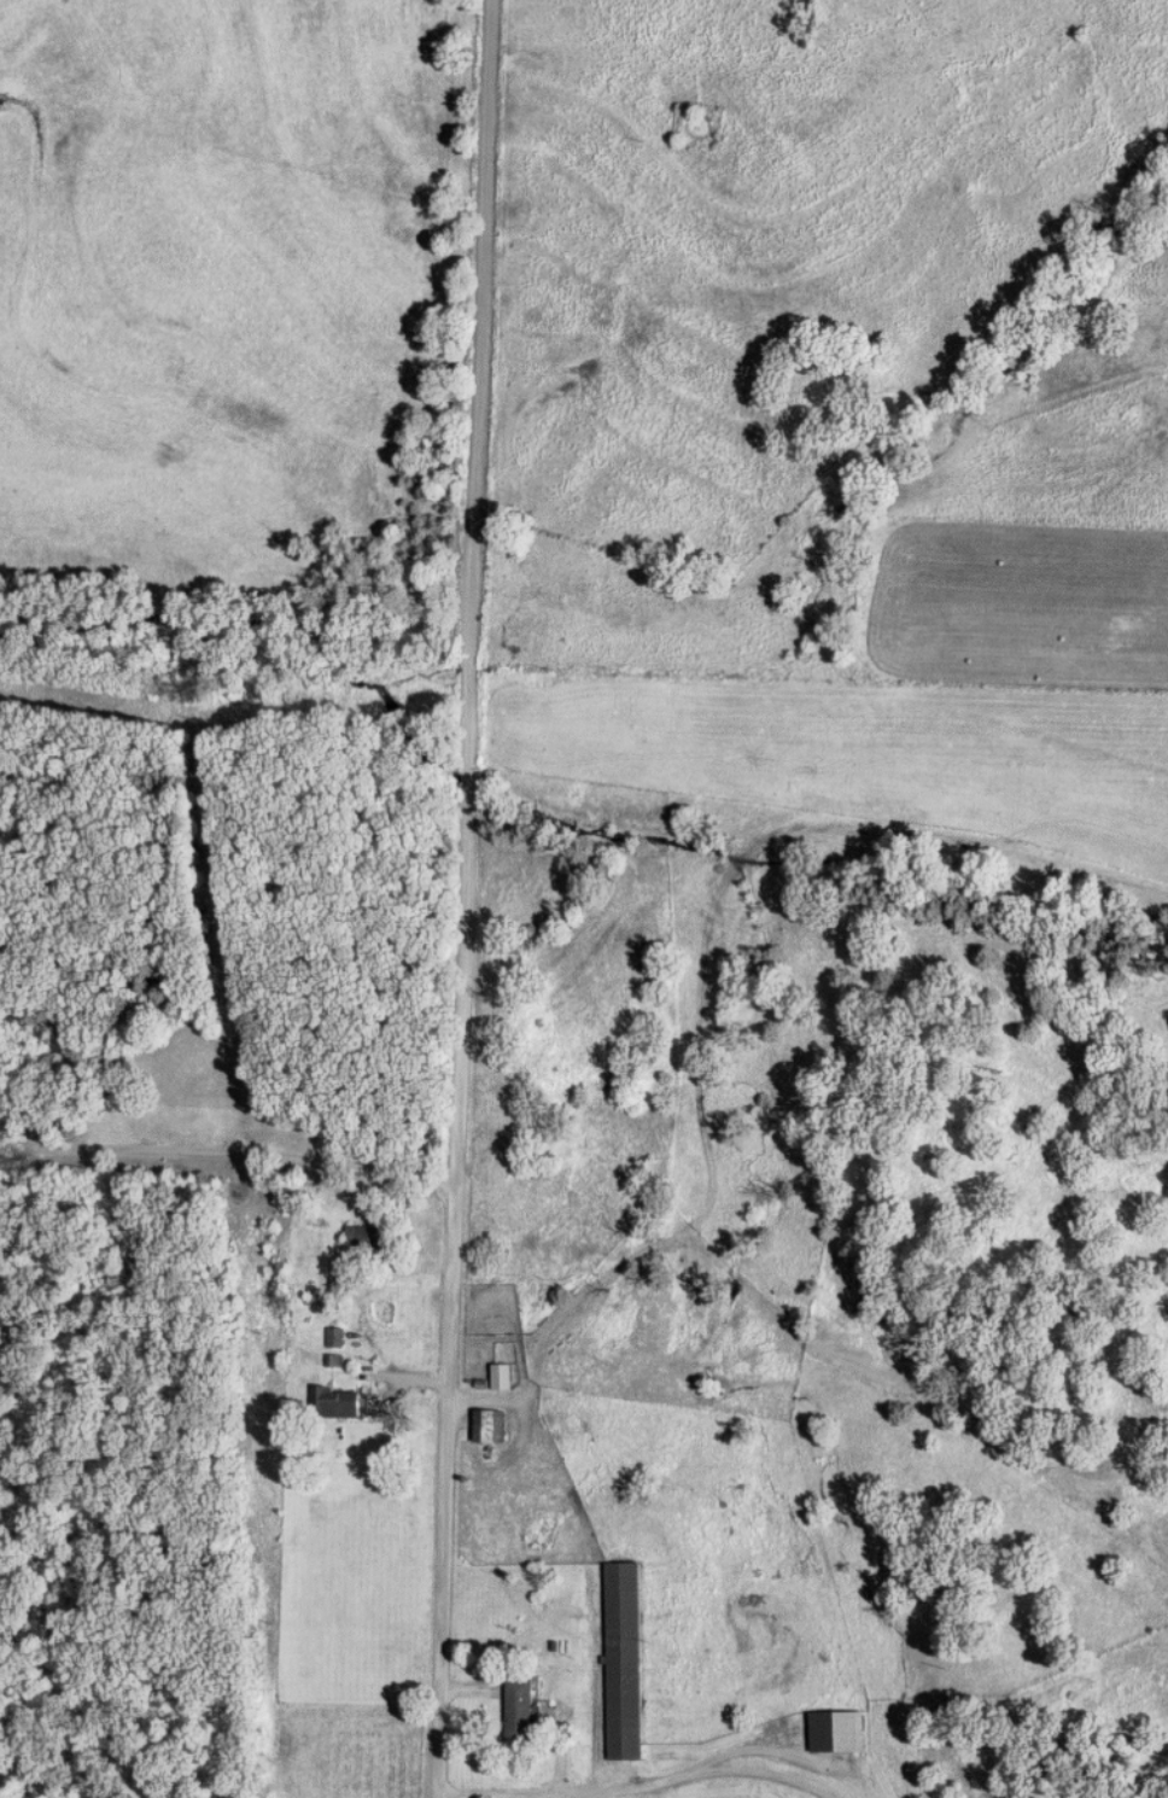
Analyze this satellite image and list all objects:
road: (478, 899)
road: (228, 1156)
building: (358, 1234)
road: (538, 1365)
building: (503, 1376)
building: (340, 1401)
building: (490, 1425)
building: (625, 1660)
building: (521, 1712)
building: (839, 1732)
road: (1144, 1773)
road: (640, 1786)
crop: (736, 1794)

